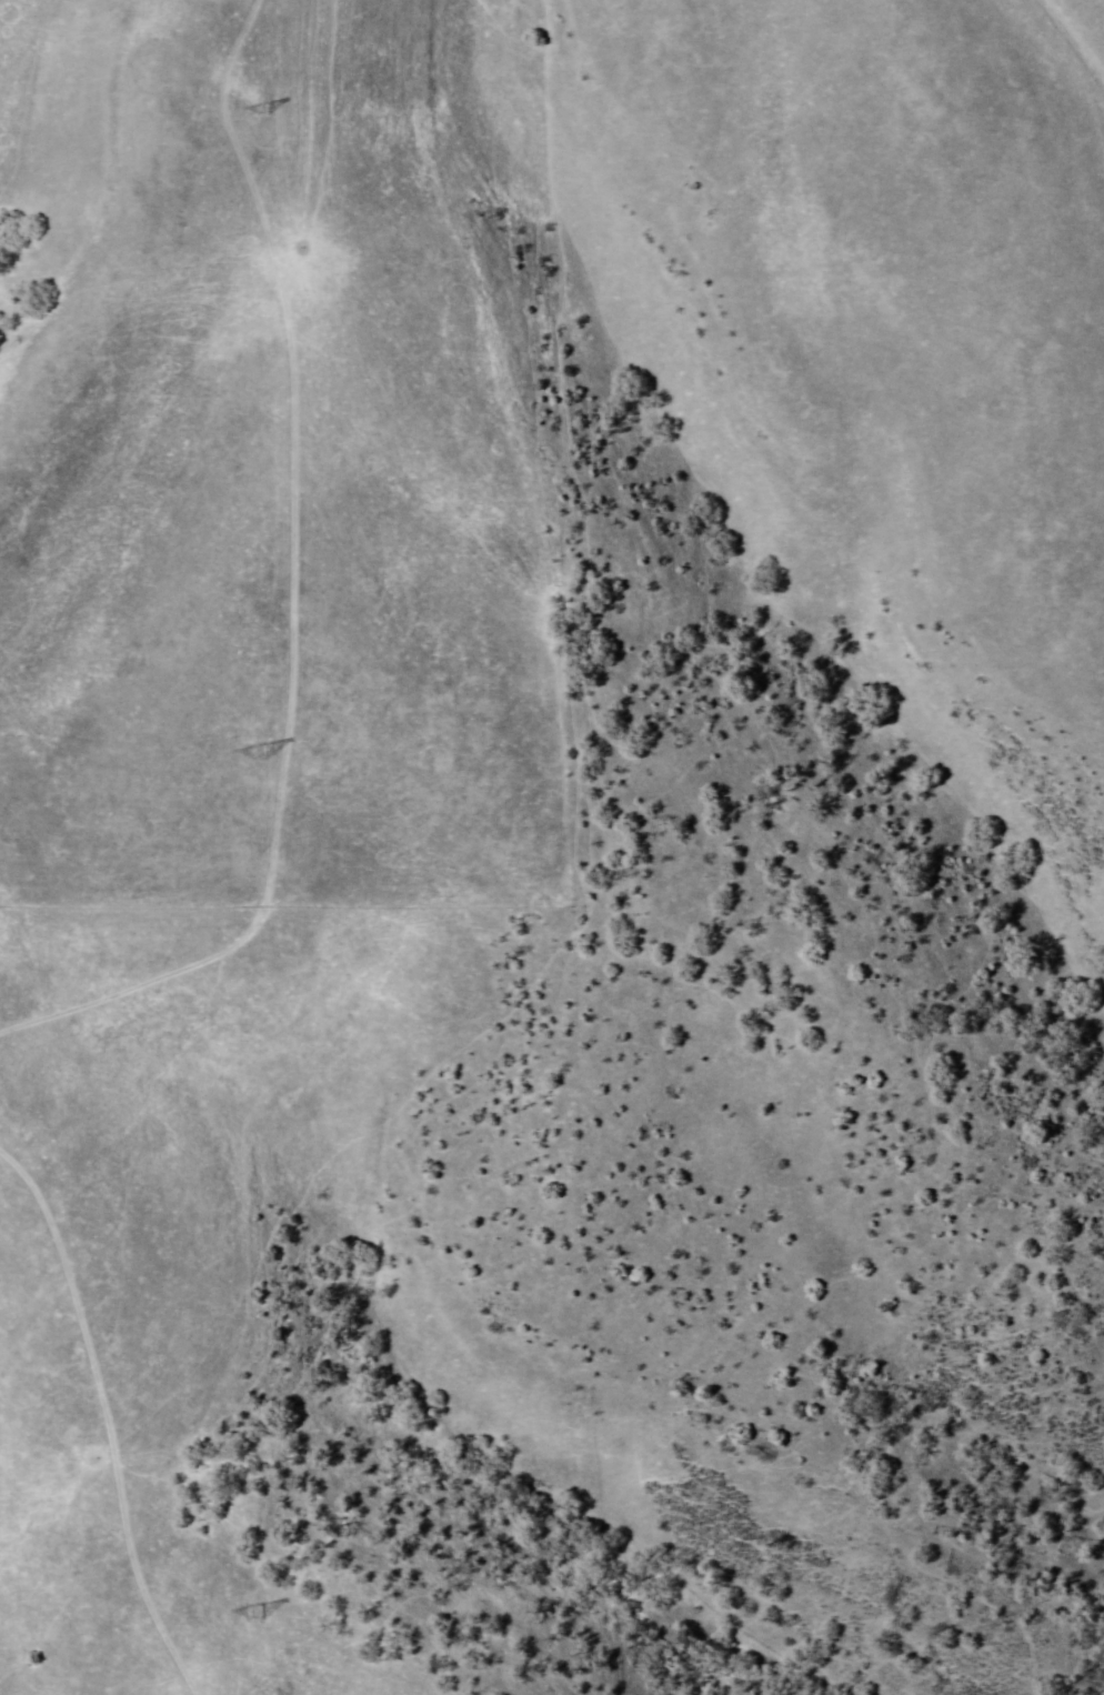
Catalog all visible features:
road: (1094, 18)

